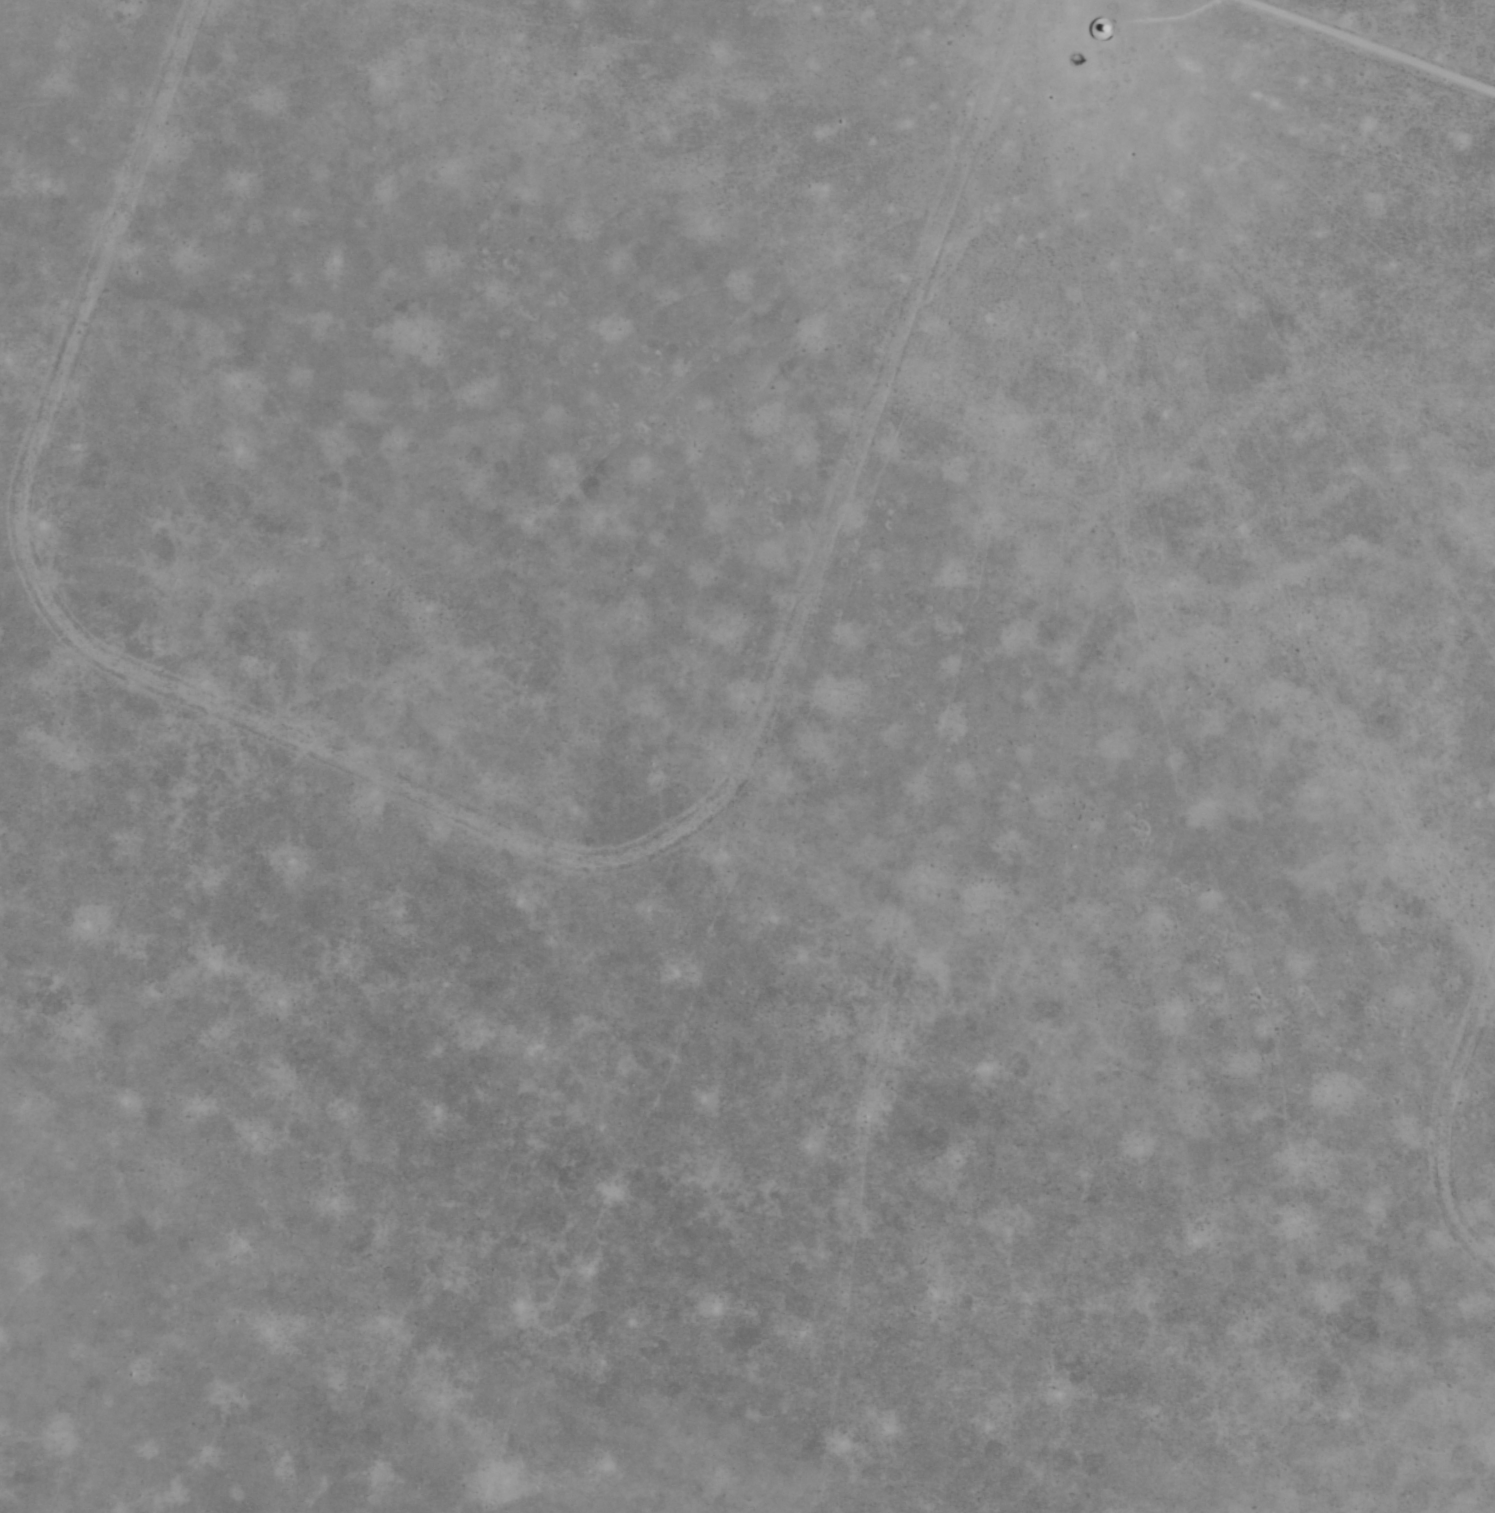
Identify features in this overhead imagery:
road: (1368, 47)

